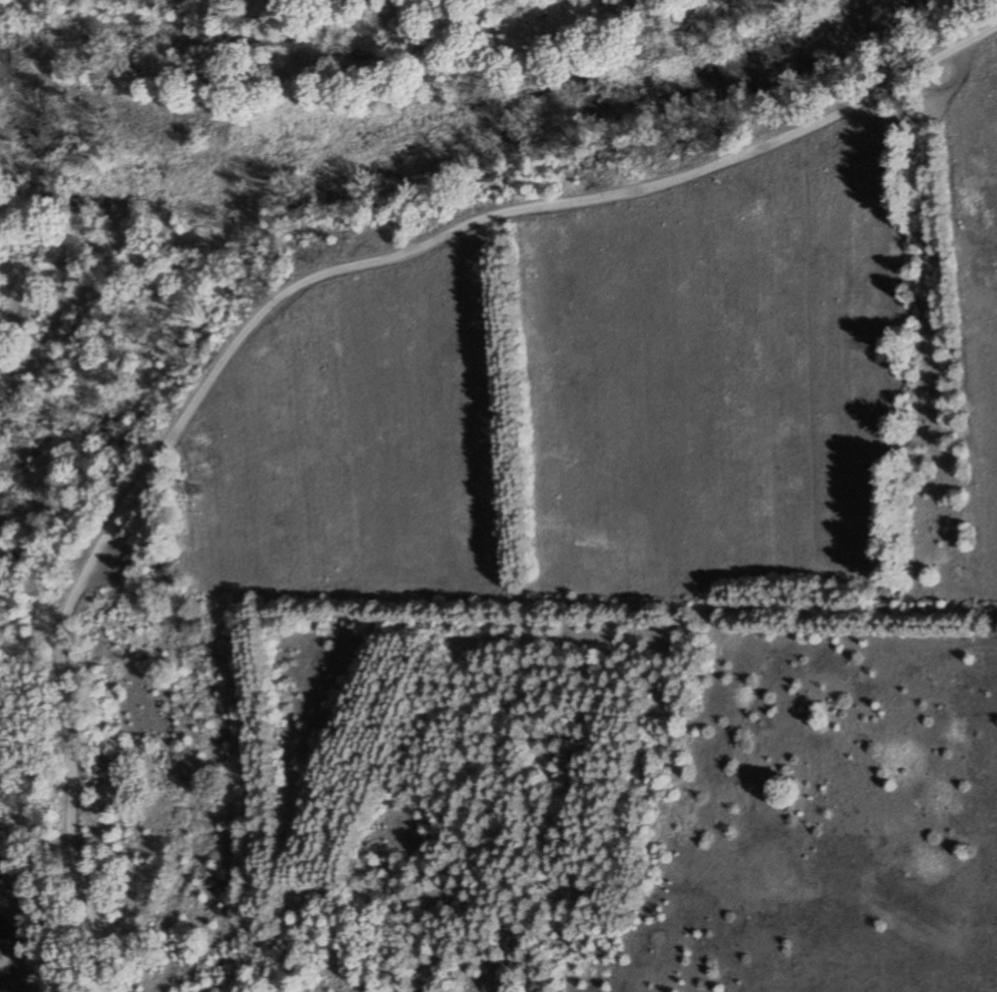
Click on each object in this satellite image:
road: (281, 296)
airport: (917, 954)

